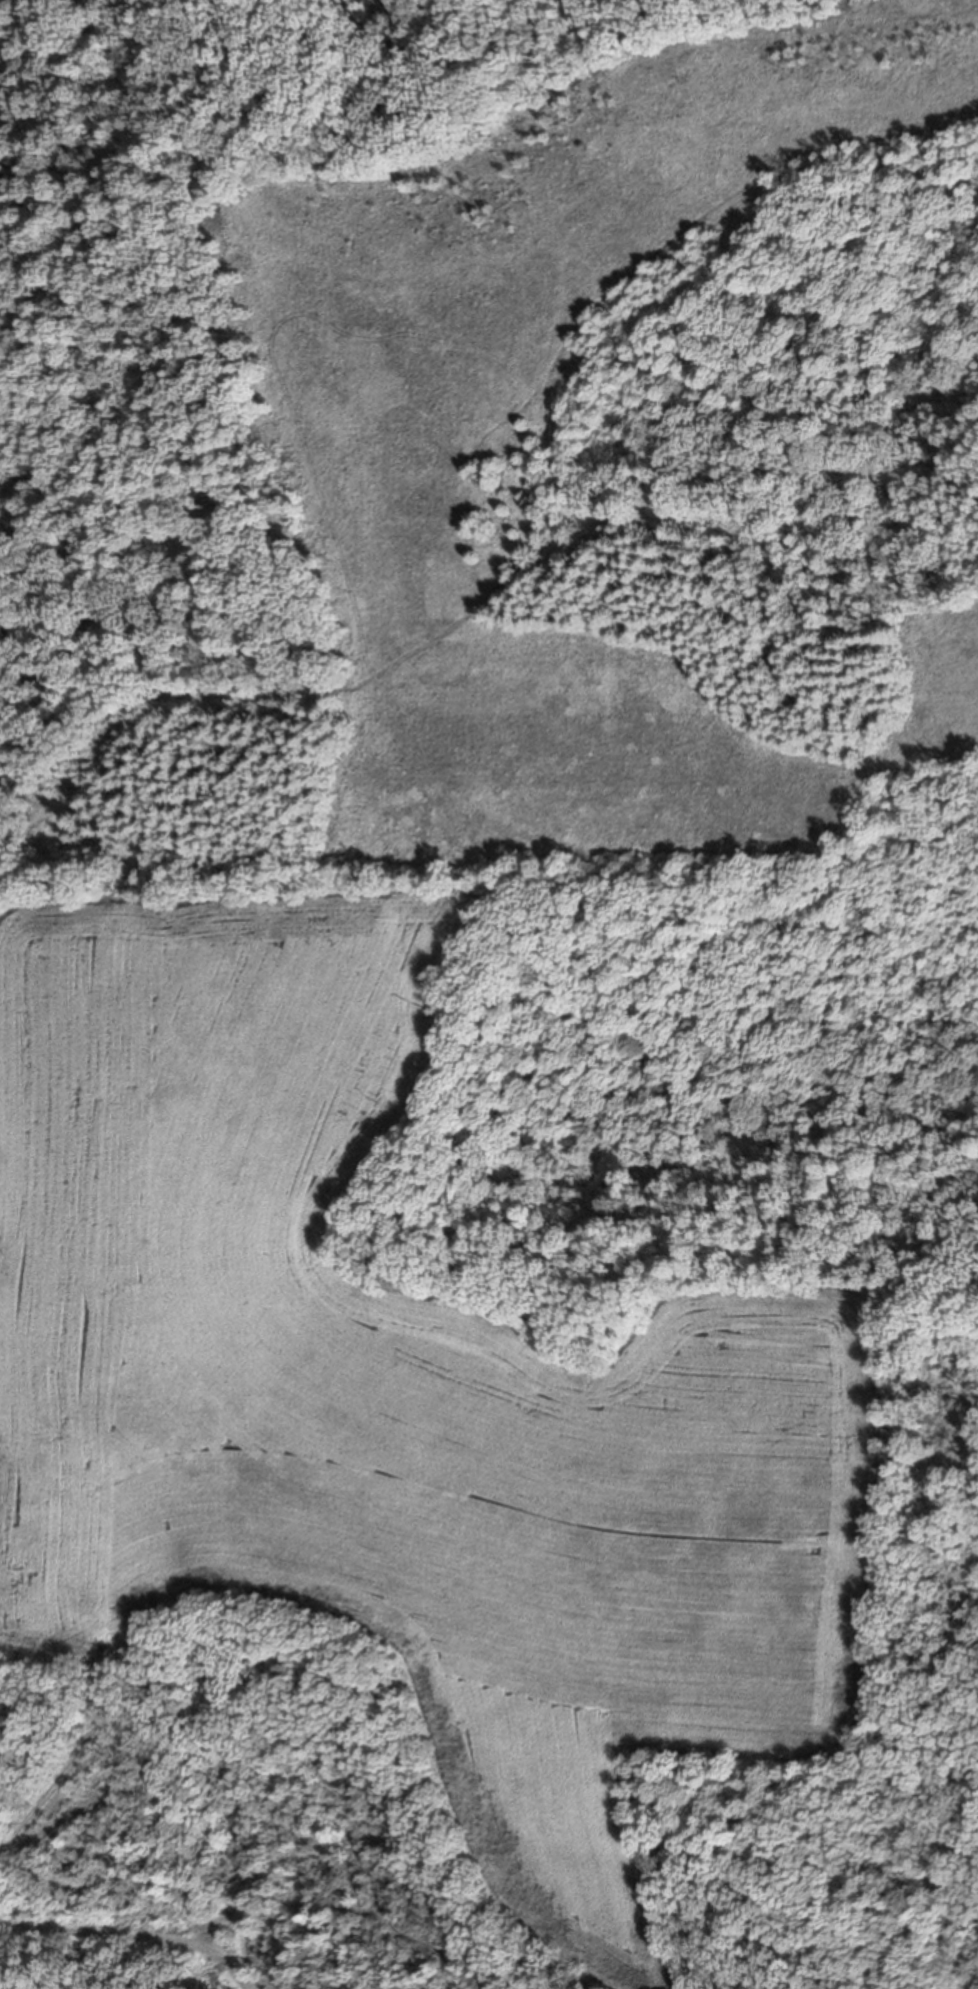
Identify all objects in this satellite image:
road: (71, 1775)
building: (243, 1925)
road: (131, 1938)

